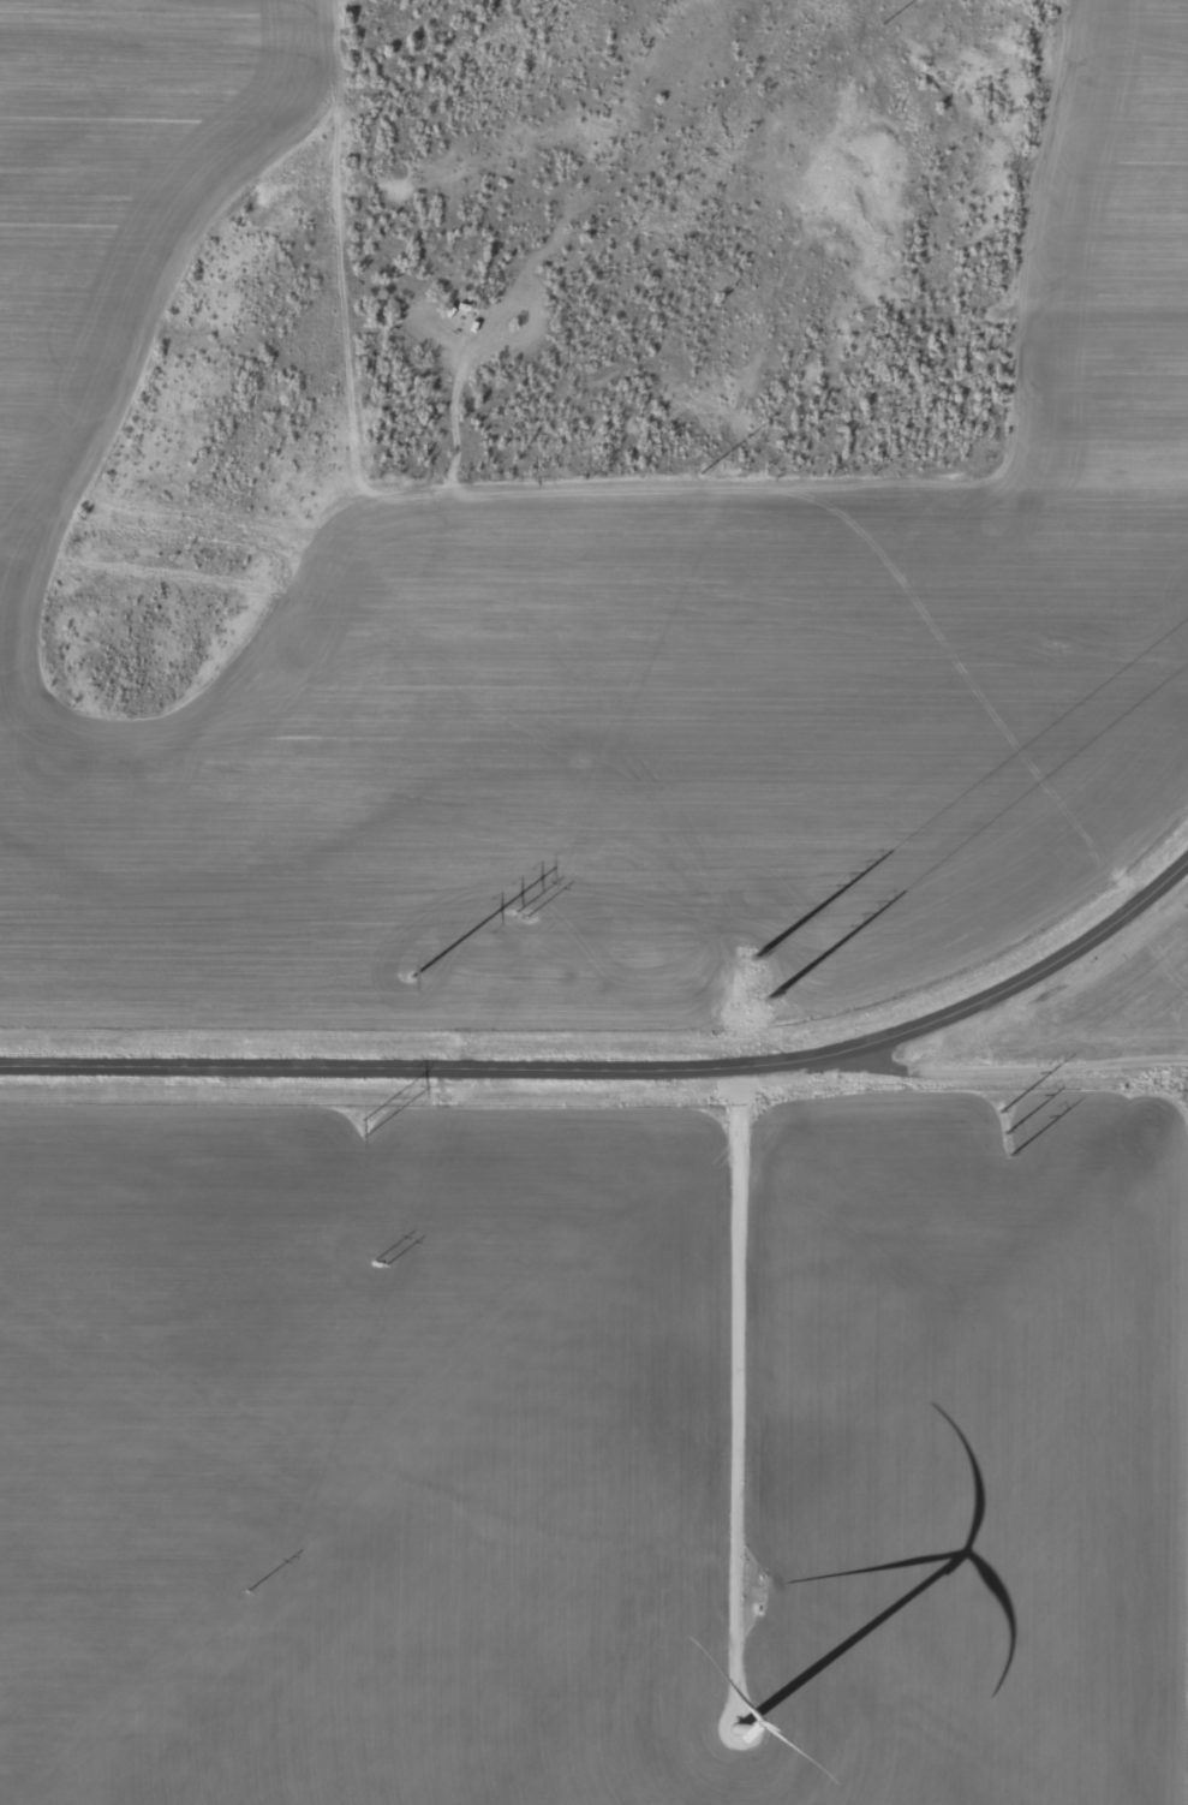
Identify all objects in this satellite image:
power tower: (882, 22)
power tower: (729, 401)
power tower: (584, 762)
power tower: (760, 976)
power tower: (412, 977)
road: (1038, 1053)
road: (621, 1073)
power tower: (362, 1131)
power tower: (1001, 1132)
power tower: (416, 1173)
power tower: (247, 1587)
wind turbine: (753, 1721)

